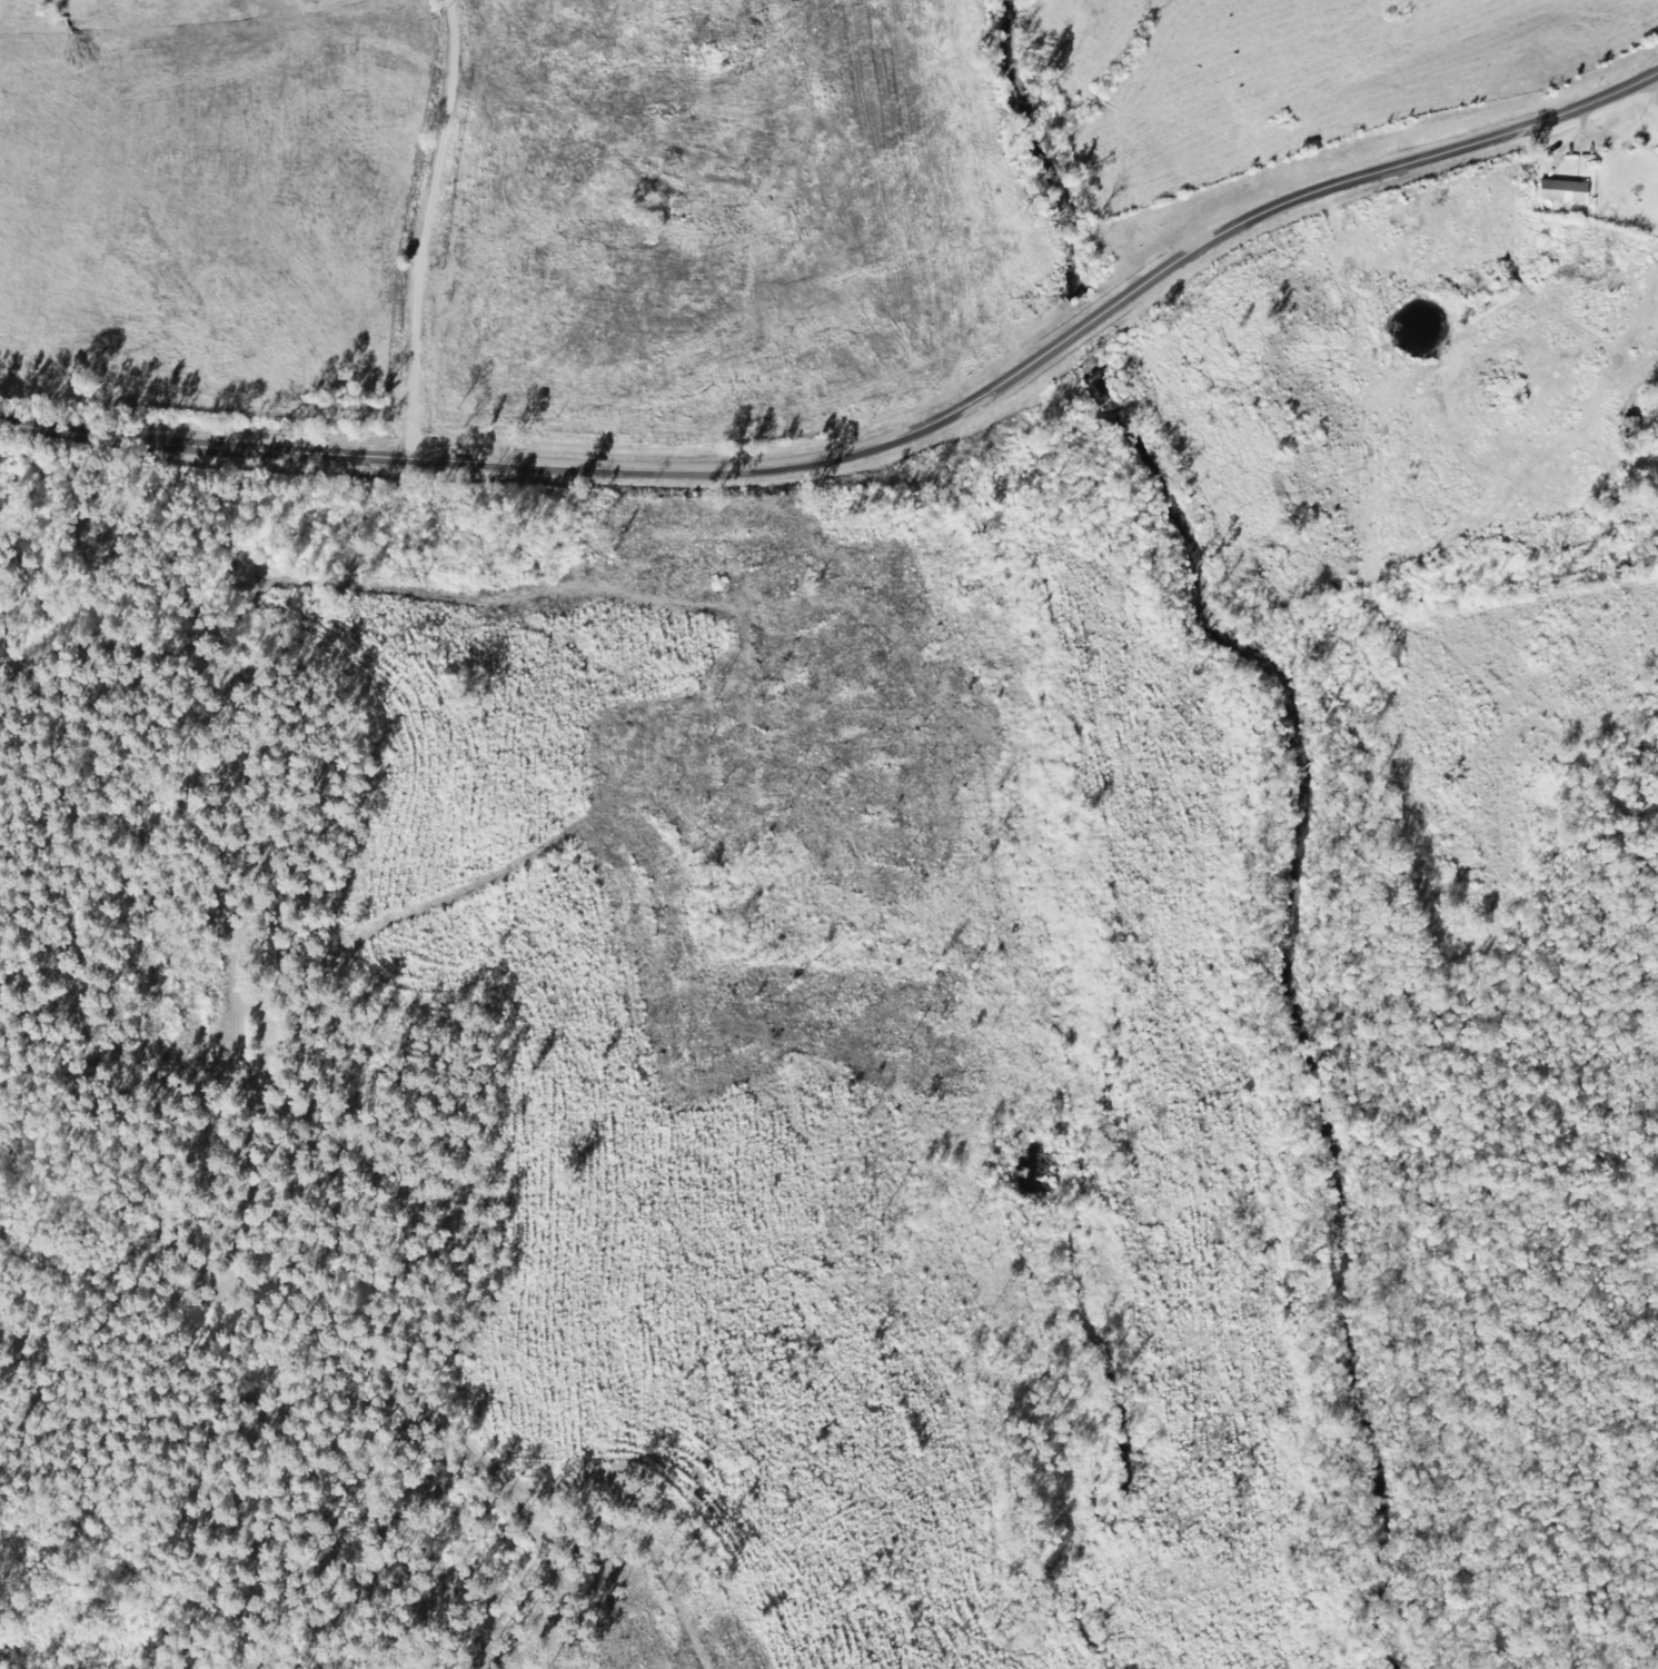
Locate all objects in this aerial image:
road: (1620, 121)
building: (1566, 192)
road: (872, 447)

